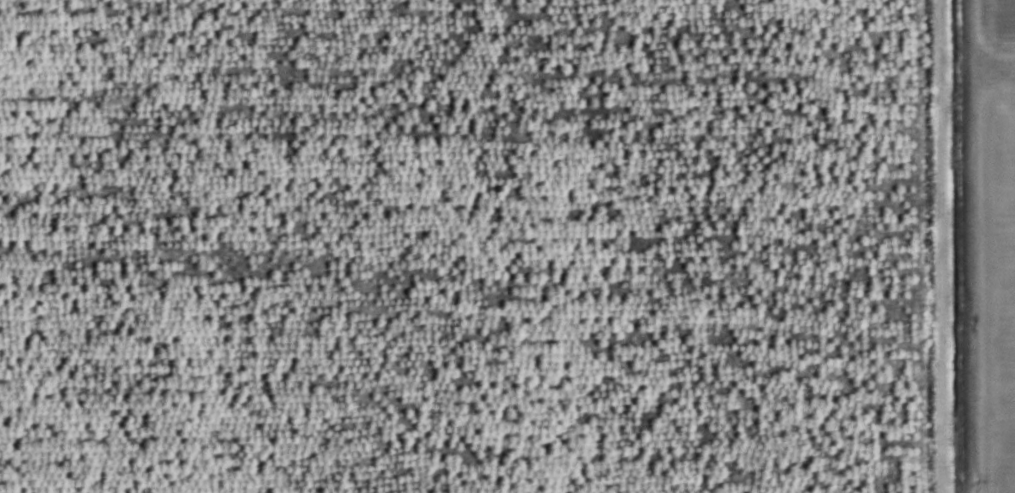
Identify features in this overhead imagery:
road: (942, 246)

